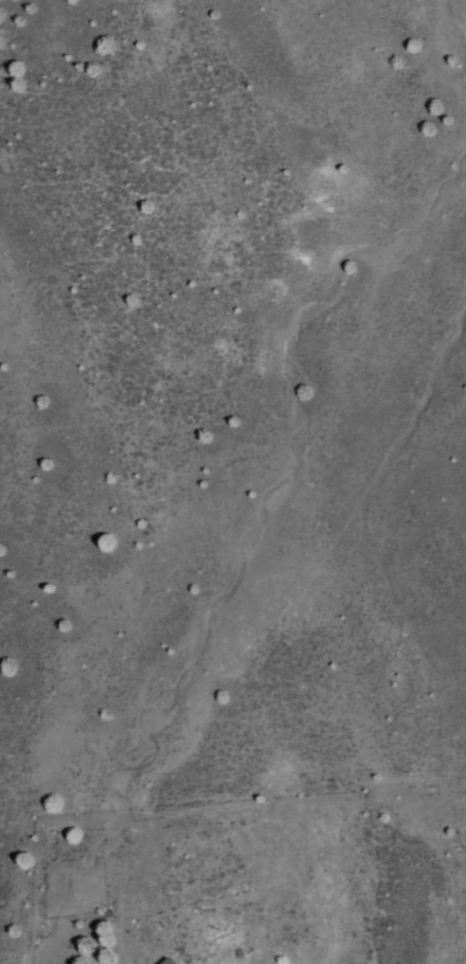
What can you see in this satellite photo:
building: (164, 961)

